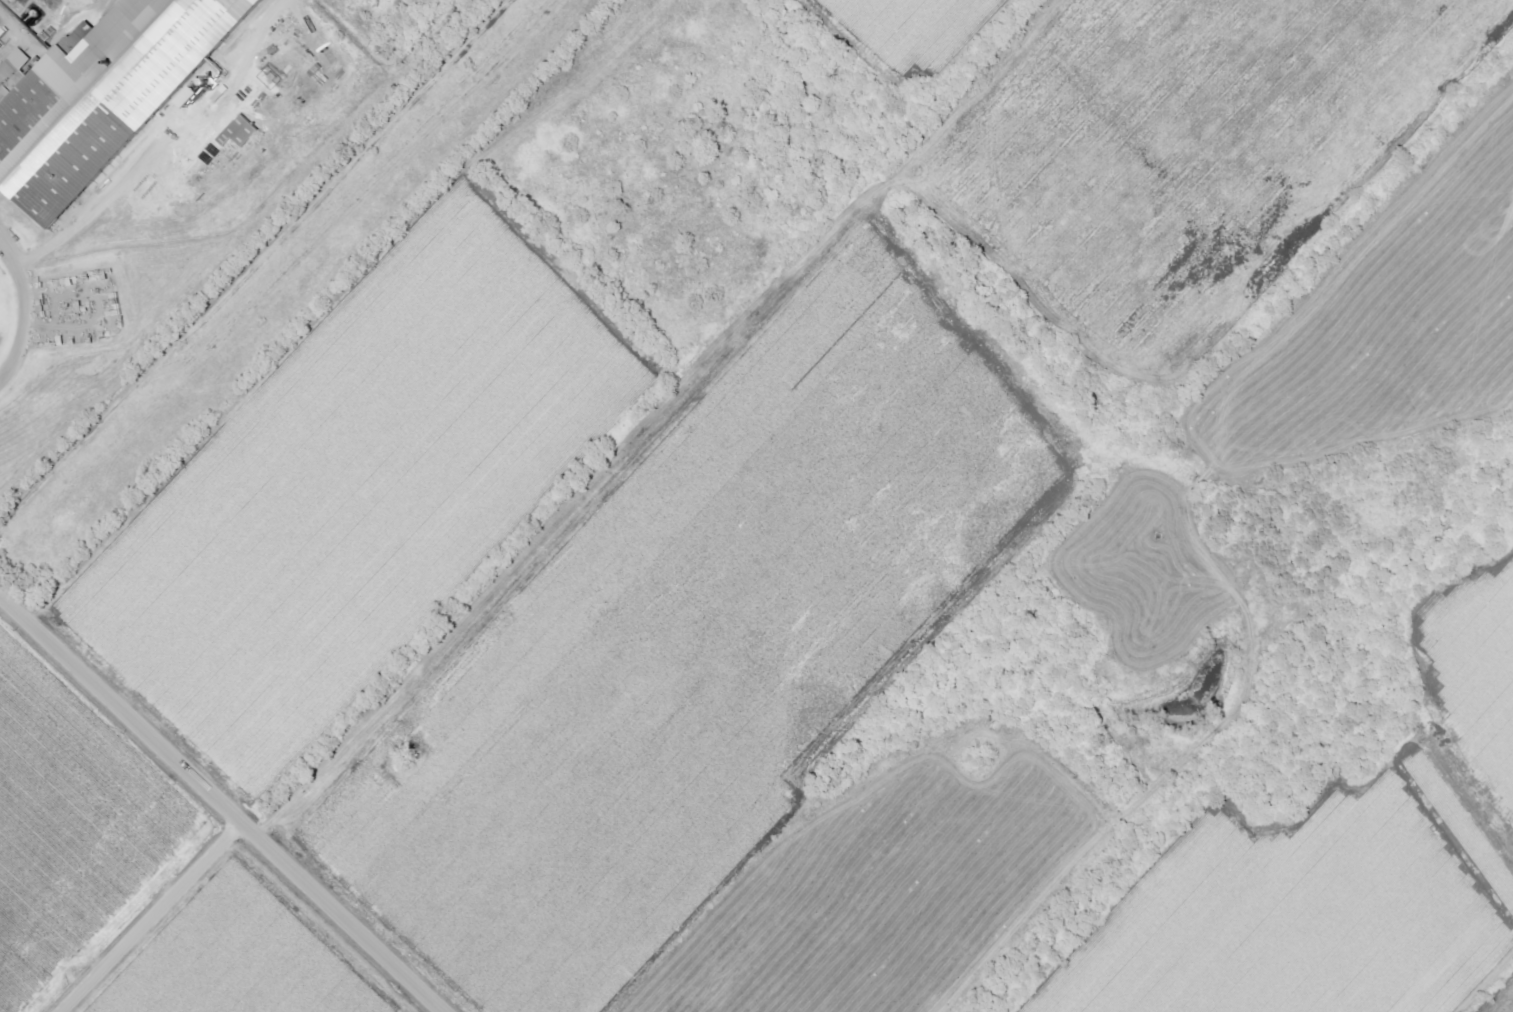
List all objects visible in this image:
road: (18, 37)
crop: (911, 45)
building: (254, 94)
building: (106, 95)
building: (247, 131)
road: (160, 140)
crop: (1179, 148)
road: (253, 267)
road: (30, 311)
crop: (365, 487)
crop: (689, 631)
road: (224, 801)
crop: (67, 823)
road: (153, 916)

